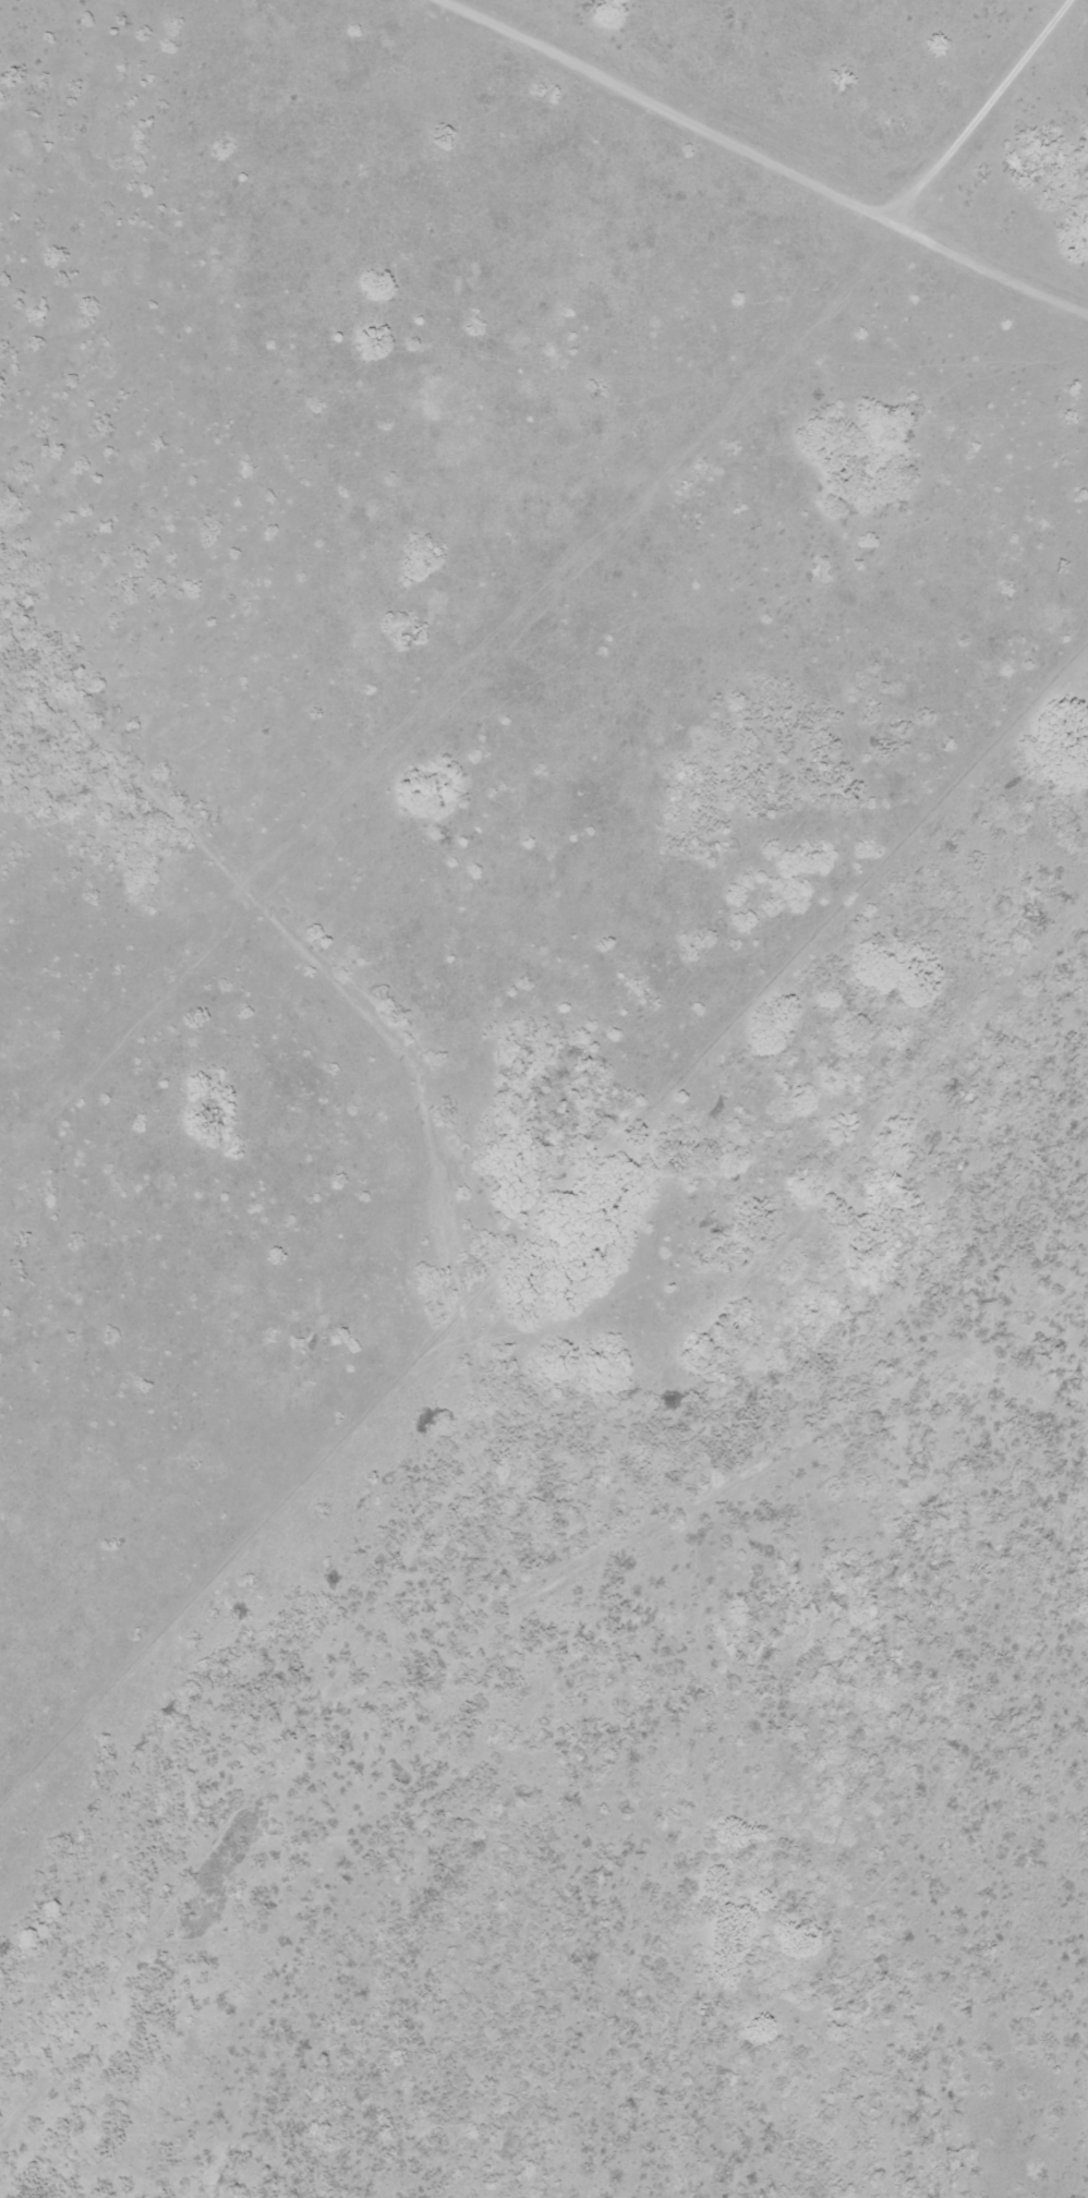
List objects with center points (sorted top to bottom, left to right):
road: (762, 153)
building: (833, 1246)
storage tank: (833, 1246)

